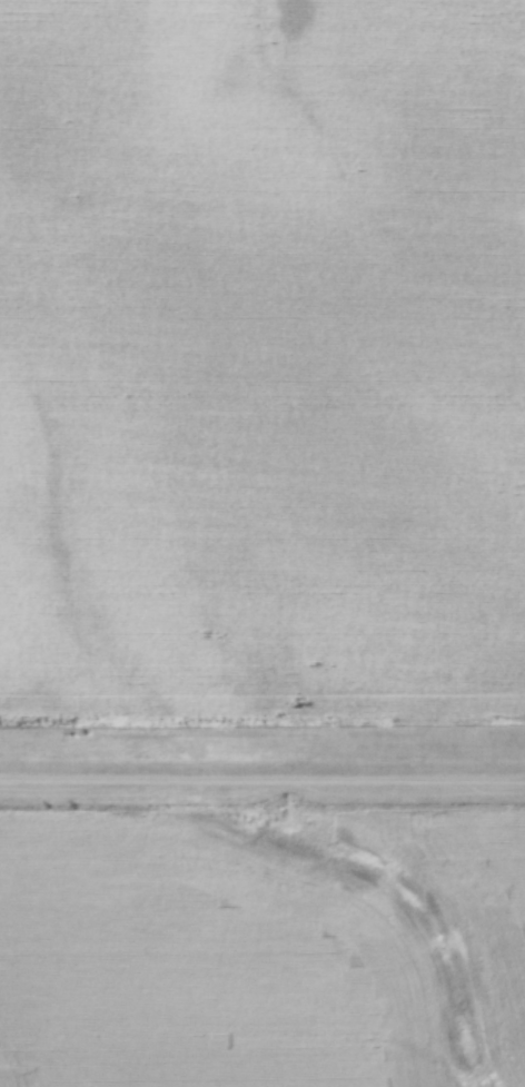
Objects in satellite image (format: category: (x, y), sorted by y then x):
road: (262, 780)

